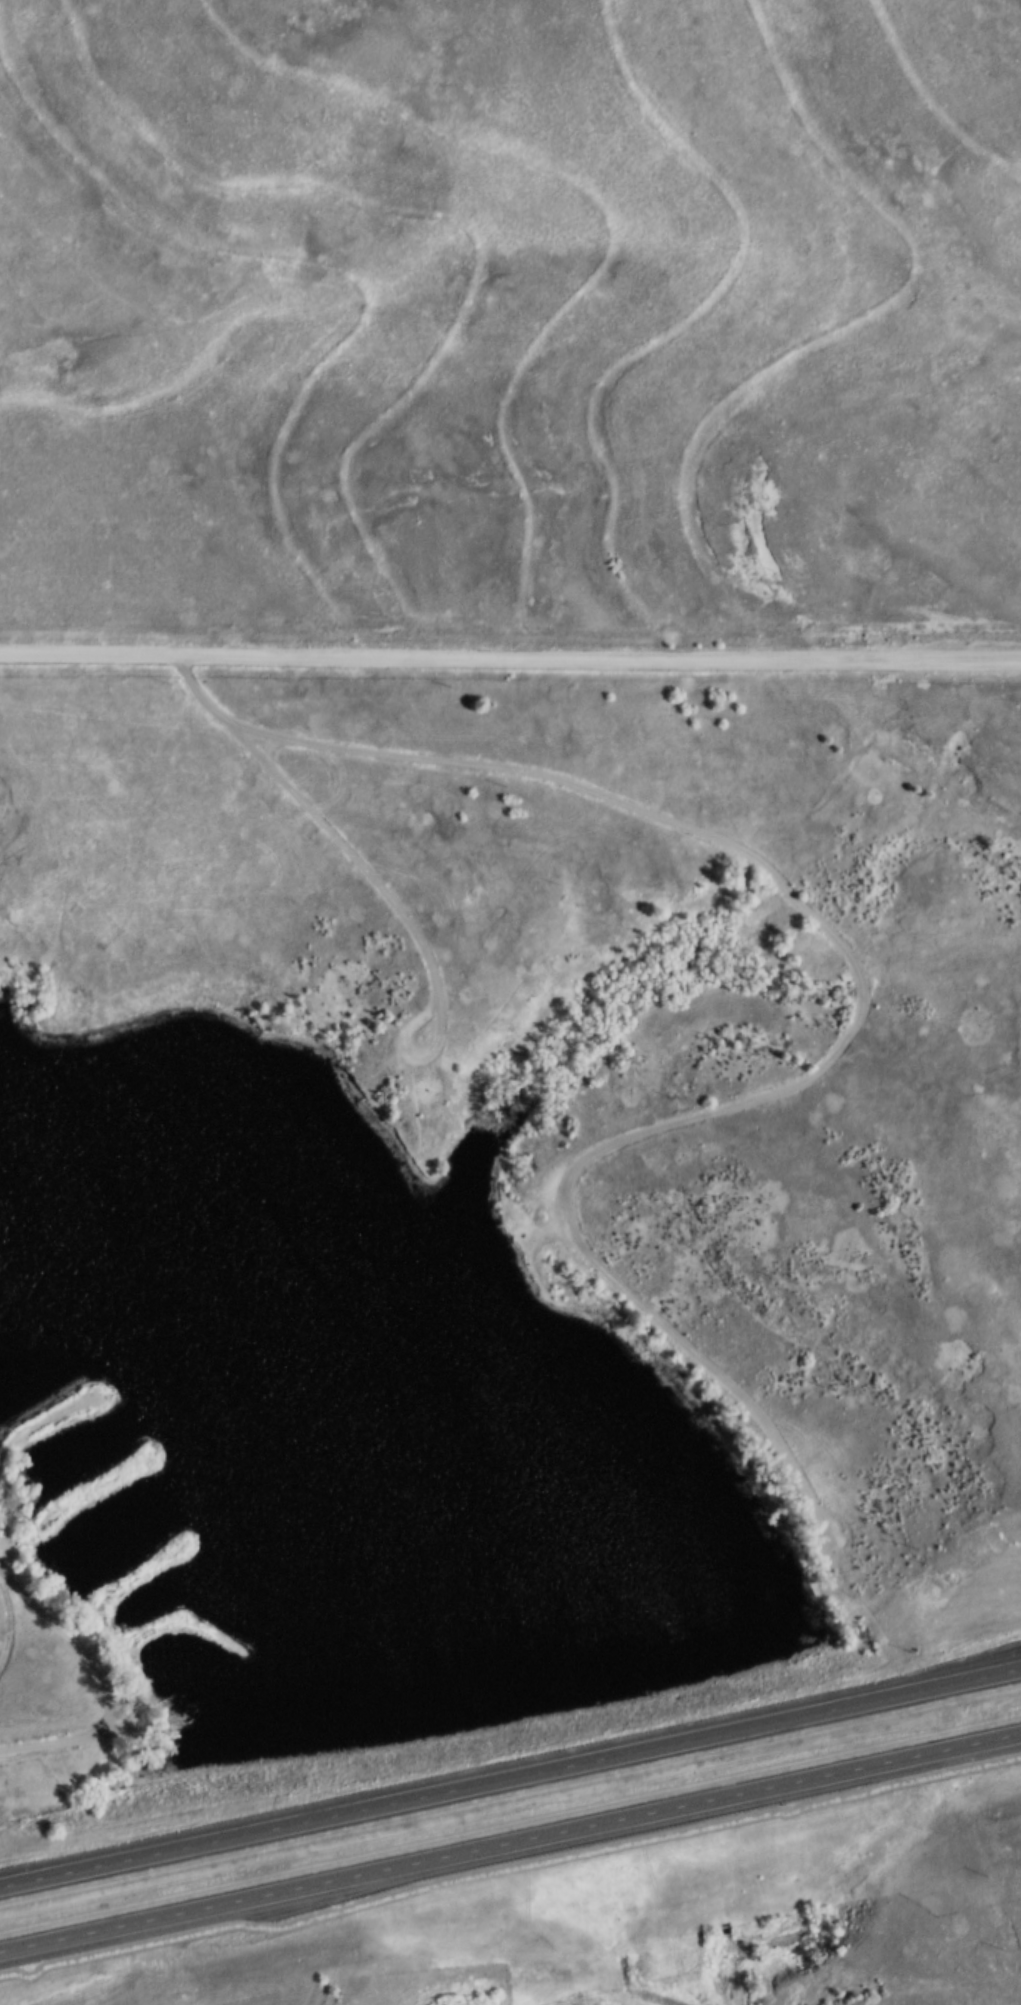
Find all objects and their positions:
road: (510, 665)
road: (373, 883)
road: (844, 1039)
road: (12, 1634)
road: (510, 1786)
road: (511, 1856)

